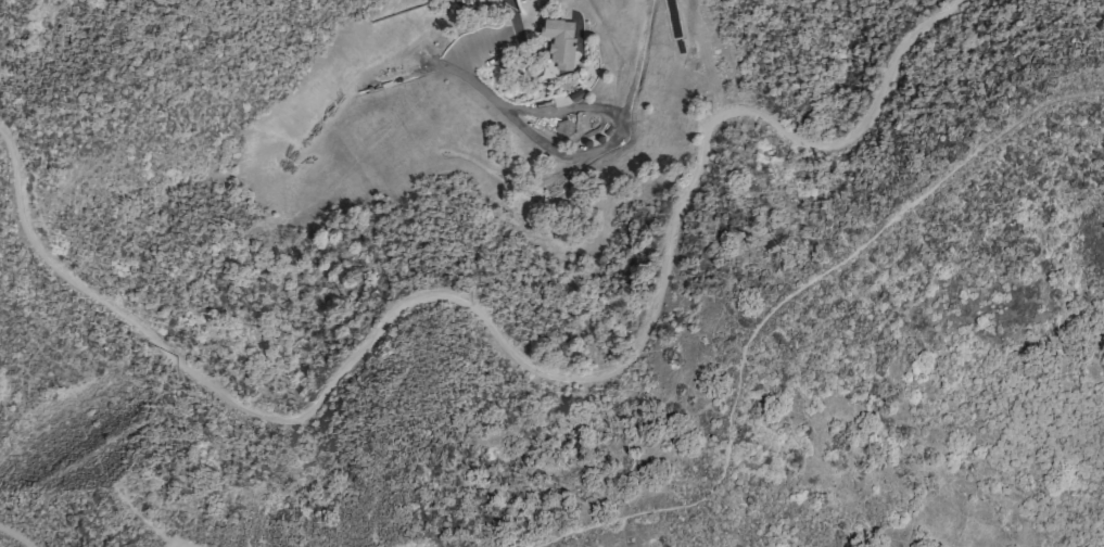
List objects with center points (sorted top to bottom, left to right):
building: (559, 40)
road: (703, 55)
road: (583, 150)
road: (783, 302)
road: (508, 345)
road: (148, 519)
road: (14, 537)
road: (773, 545)

